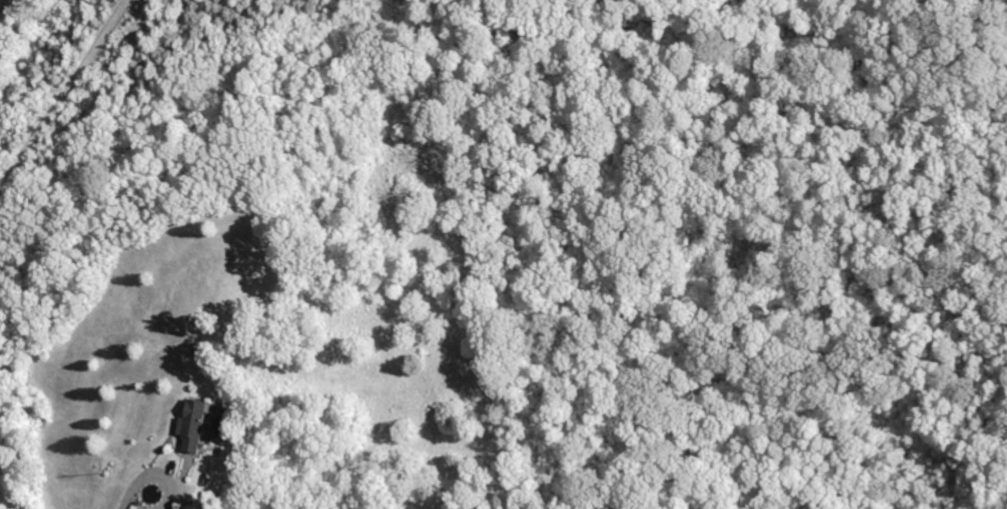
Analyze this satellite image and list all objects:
building: (201, 425)
road: (144, 500)

